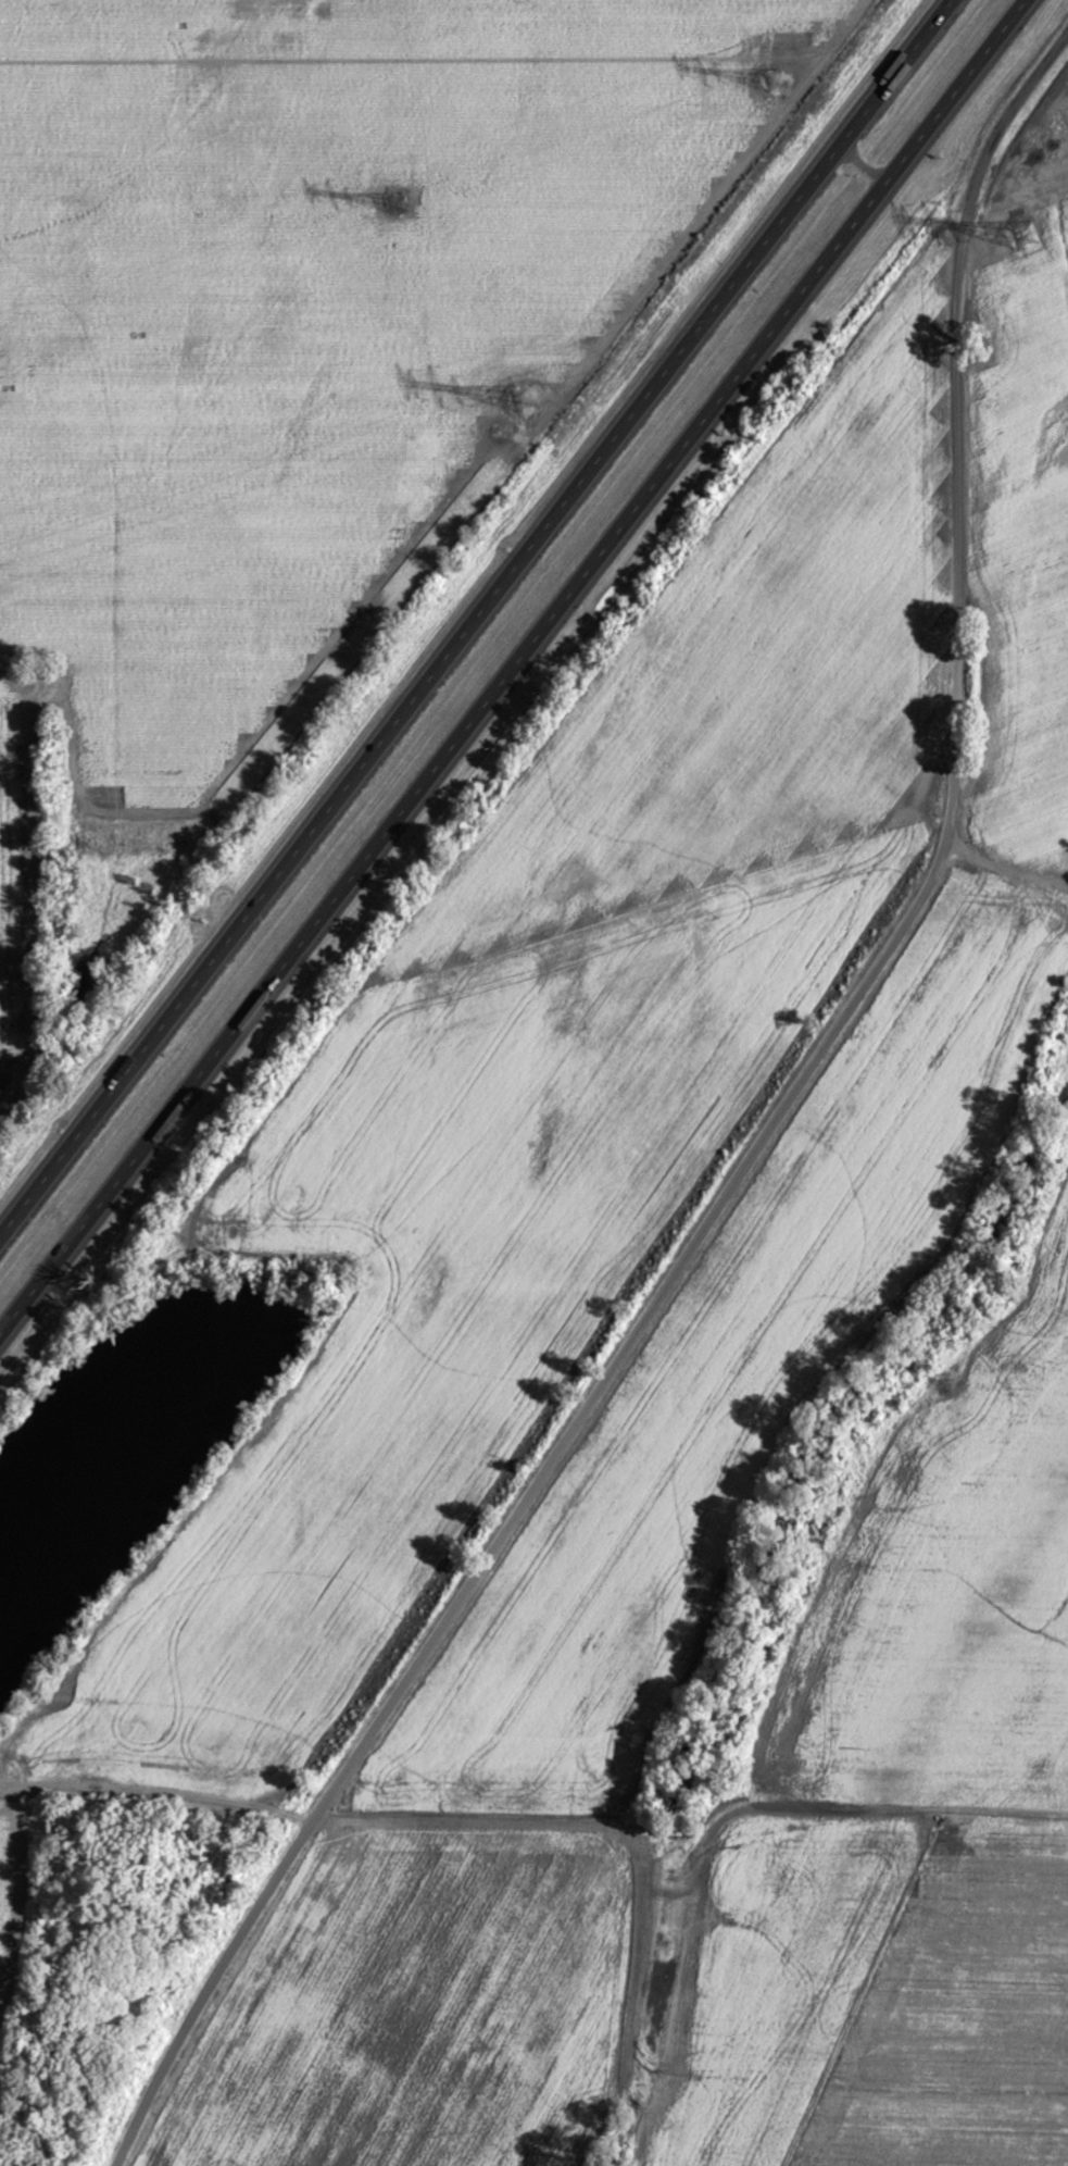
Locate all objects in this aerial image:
road: (970, 190)
power tower: (1029, 232)
crop: (309, 343)
power tower: (525, 397)
road: (474, 615)
crop: (752, 636)
road: (512, 667)
crop: (428, 1283)
road: (654, 1304)
crop: (128, 1436)

